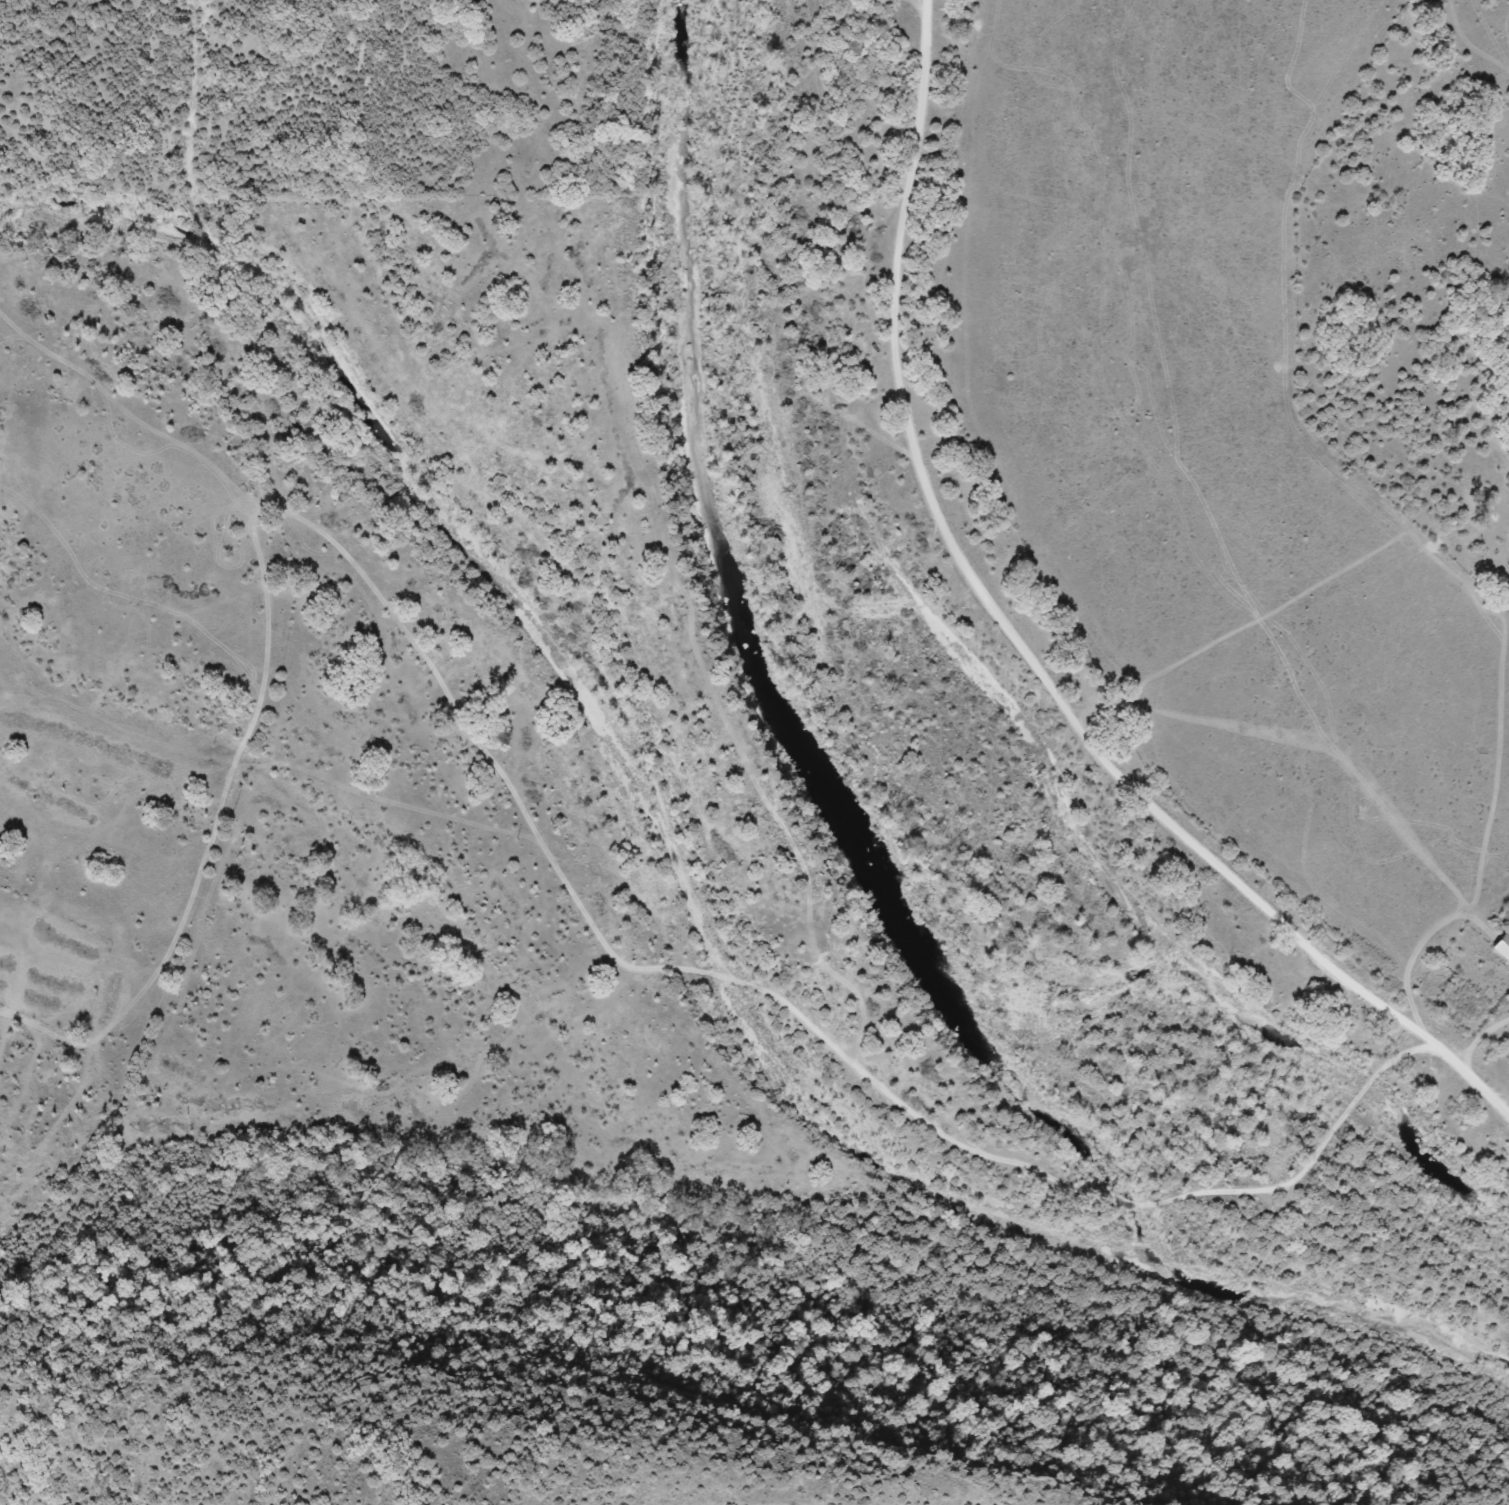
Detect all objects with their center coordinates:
road: (1025, 639)
river: (857, 844)
building: (1502, 946)
road: (642, 966)

